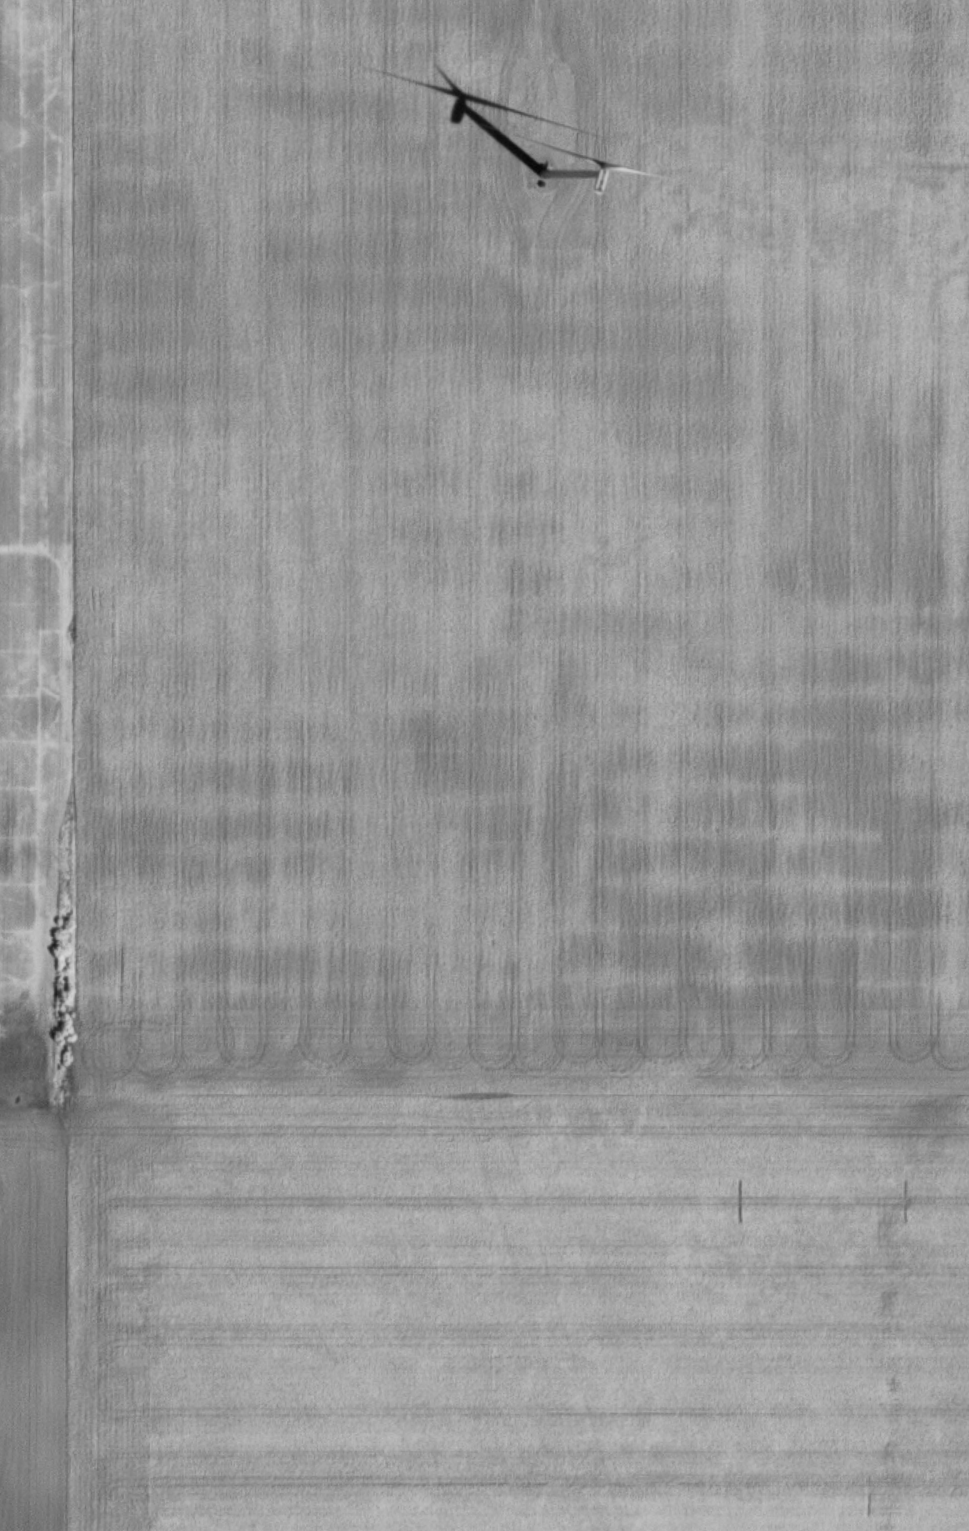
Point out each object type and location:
road: (533, 56)
wind turbine: (530, 211)

